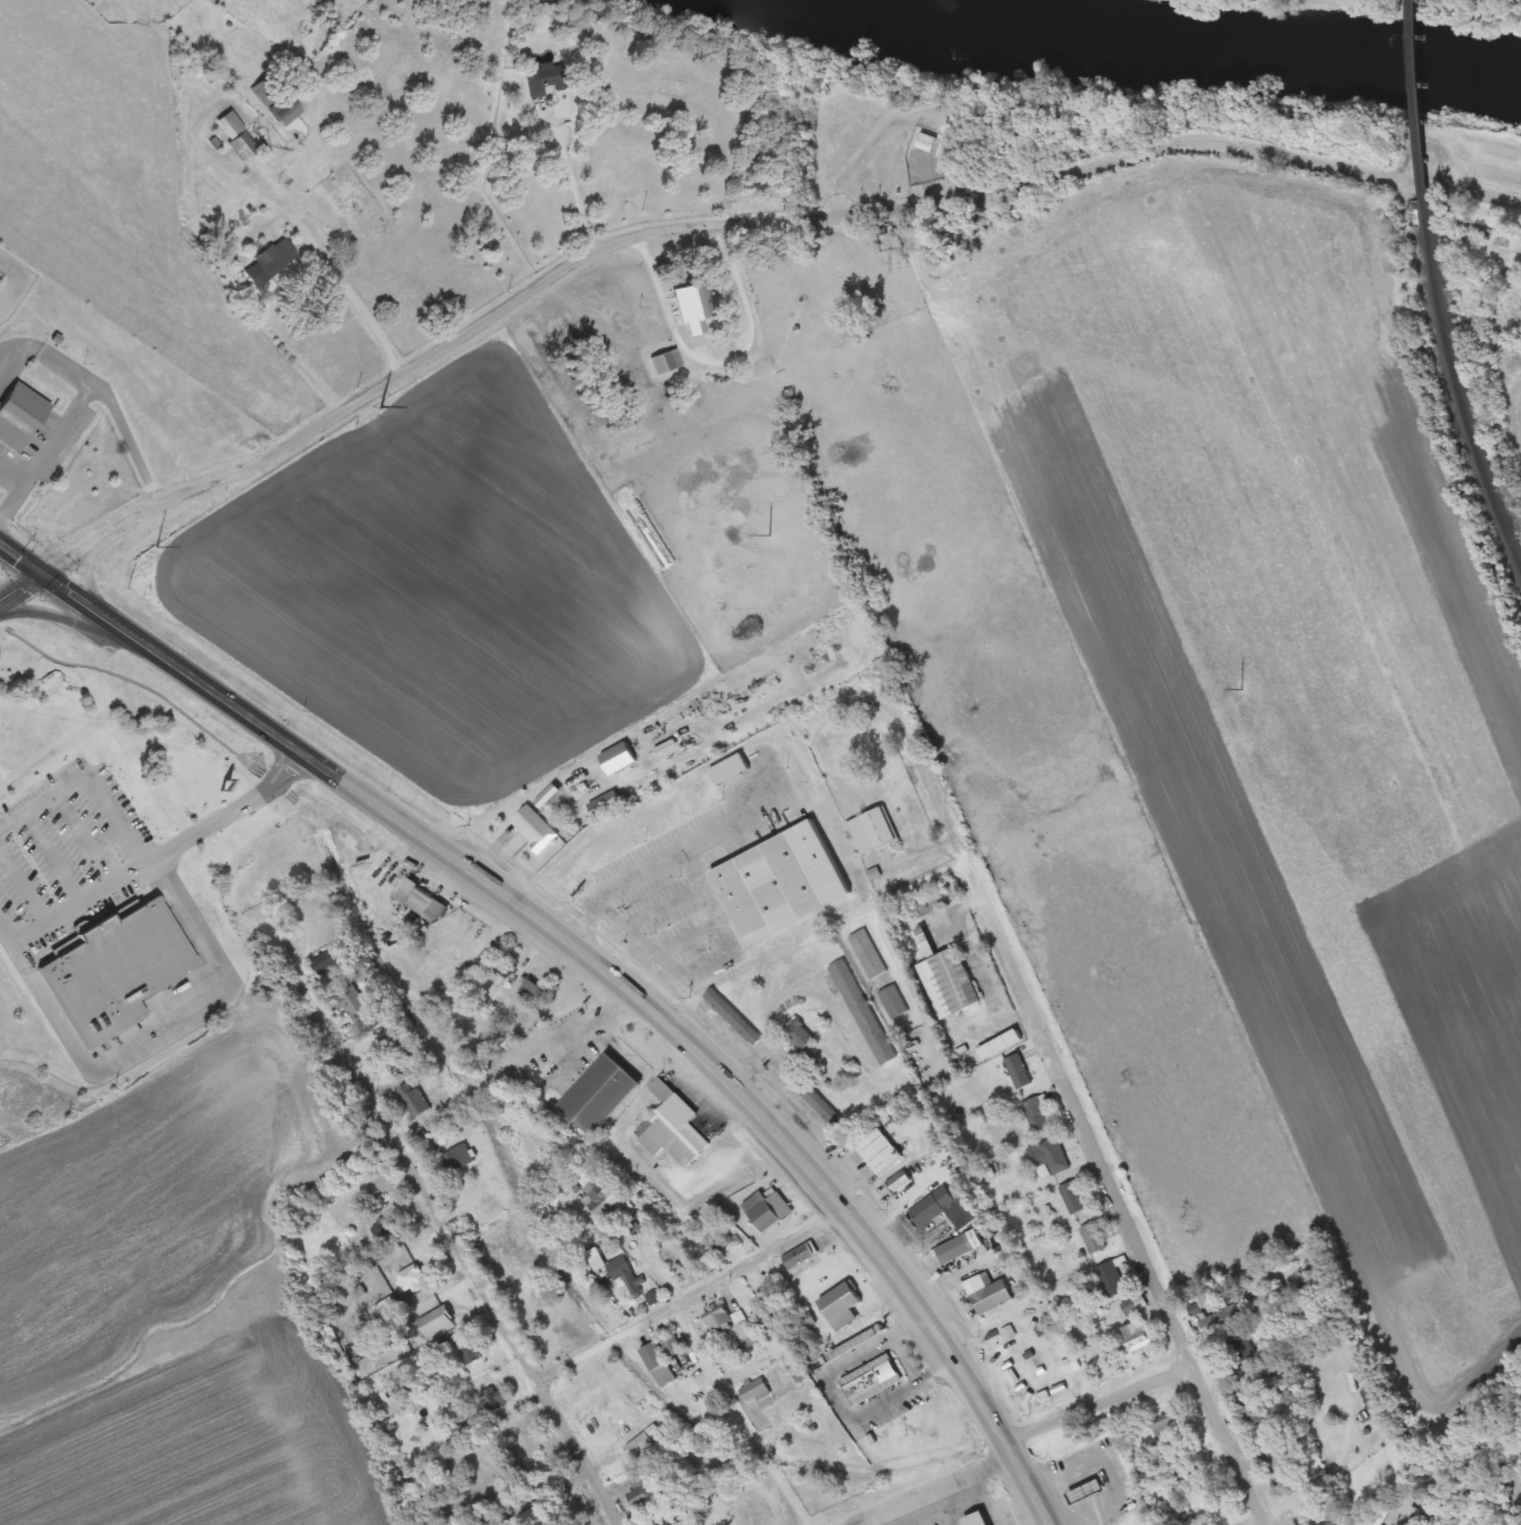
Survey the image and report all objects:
river: (1160, 58)
building: (544, 80)
building: (266, 91)
railway: (1420, 100)
building: (287, 109)
building: (238, 134)
building: (929, 142)
road: (1484, 196)
road: (704, 221)
building: (273, 261)
building: (705, 301)
building: (693, 338)
building: (669, 361)
railway: (1458, 386)
power tower: (379, 406)
building: (22, 417)
power tower: (767, 535)
power tower: (155, 546)
traffic signals: (42, 574)
road: (21, 586)
road: (75, 624)
power tower: (1238, 688)
building: (622, 763)
road: (341, 778)
building: (608, 805)
building: (537, 828)
building: (873, 832)
road: (152, 858)
building: (776, 886)
building: (672, 895)
building: (421, 900)
building: (868, 954)
building: (484, 961)
building: (326, 962)
building: (505, 968)
building: (118, 972)
building: (946, 979)
building: (535, 993)
building: (894, 1002)
building: (353, 1006)
building: (864, 1012)
building: (736, 1018)
building: (801, 1035)
building: (1000, 1045)
building: (1016, 1072)
building: (602, 1095)
building: (414, 1101)
road: (1068, 1104)
building: (824, 1107)
building: (1036, 1114)
building: (674, 1127)
building: (881, 1152)
building: (1047, 1158)
building: (457, 1159)
road: (407, 1160)
building: (900, 1183)
building: (603, 1197)
building: (1072, 1198)
building: (947, 1209)
building: (770, 1211)
building: (386, 1226)
building: (1092, 1239)
building: (720, 1241)
building: (960, 1248)
building: (802, 1255)
building: (596, 1259)
road: (881, 1260)
building: (822, 1276)
building: (411, 1278)
building: (1110, 1280)
building: (636, 1285)
road: (690, 1290)
building: (989, 1292)
building: (844, 1305)
building: (1133, 1305)
building: (1228, 1316)
building: (732, 1327)
building: (1138, 1335)
building: (853, 1345)
building: (673, 1346)
building: (1243, 1347)
building: (468, 1348)
building: (658, 1364)
building: (872, 1380)
building: (755, 1391)
building: (1369, 1398)
building: (494, 1401)
building: (1257, 1410)
road: (737, 1414)
building: (1167, 1425)
road: (1012, 1444)
road: (581, 1453)
building: (1278, 1465)
building: (1190, 1475)
building: (641, 1490)
building: (1086, 1491)
building: (999, 1510)
building: (539, 1516)
building: (1381, 1518)
road: (849, 1523)

